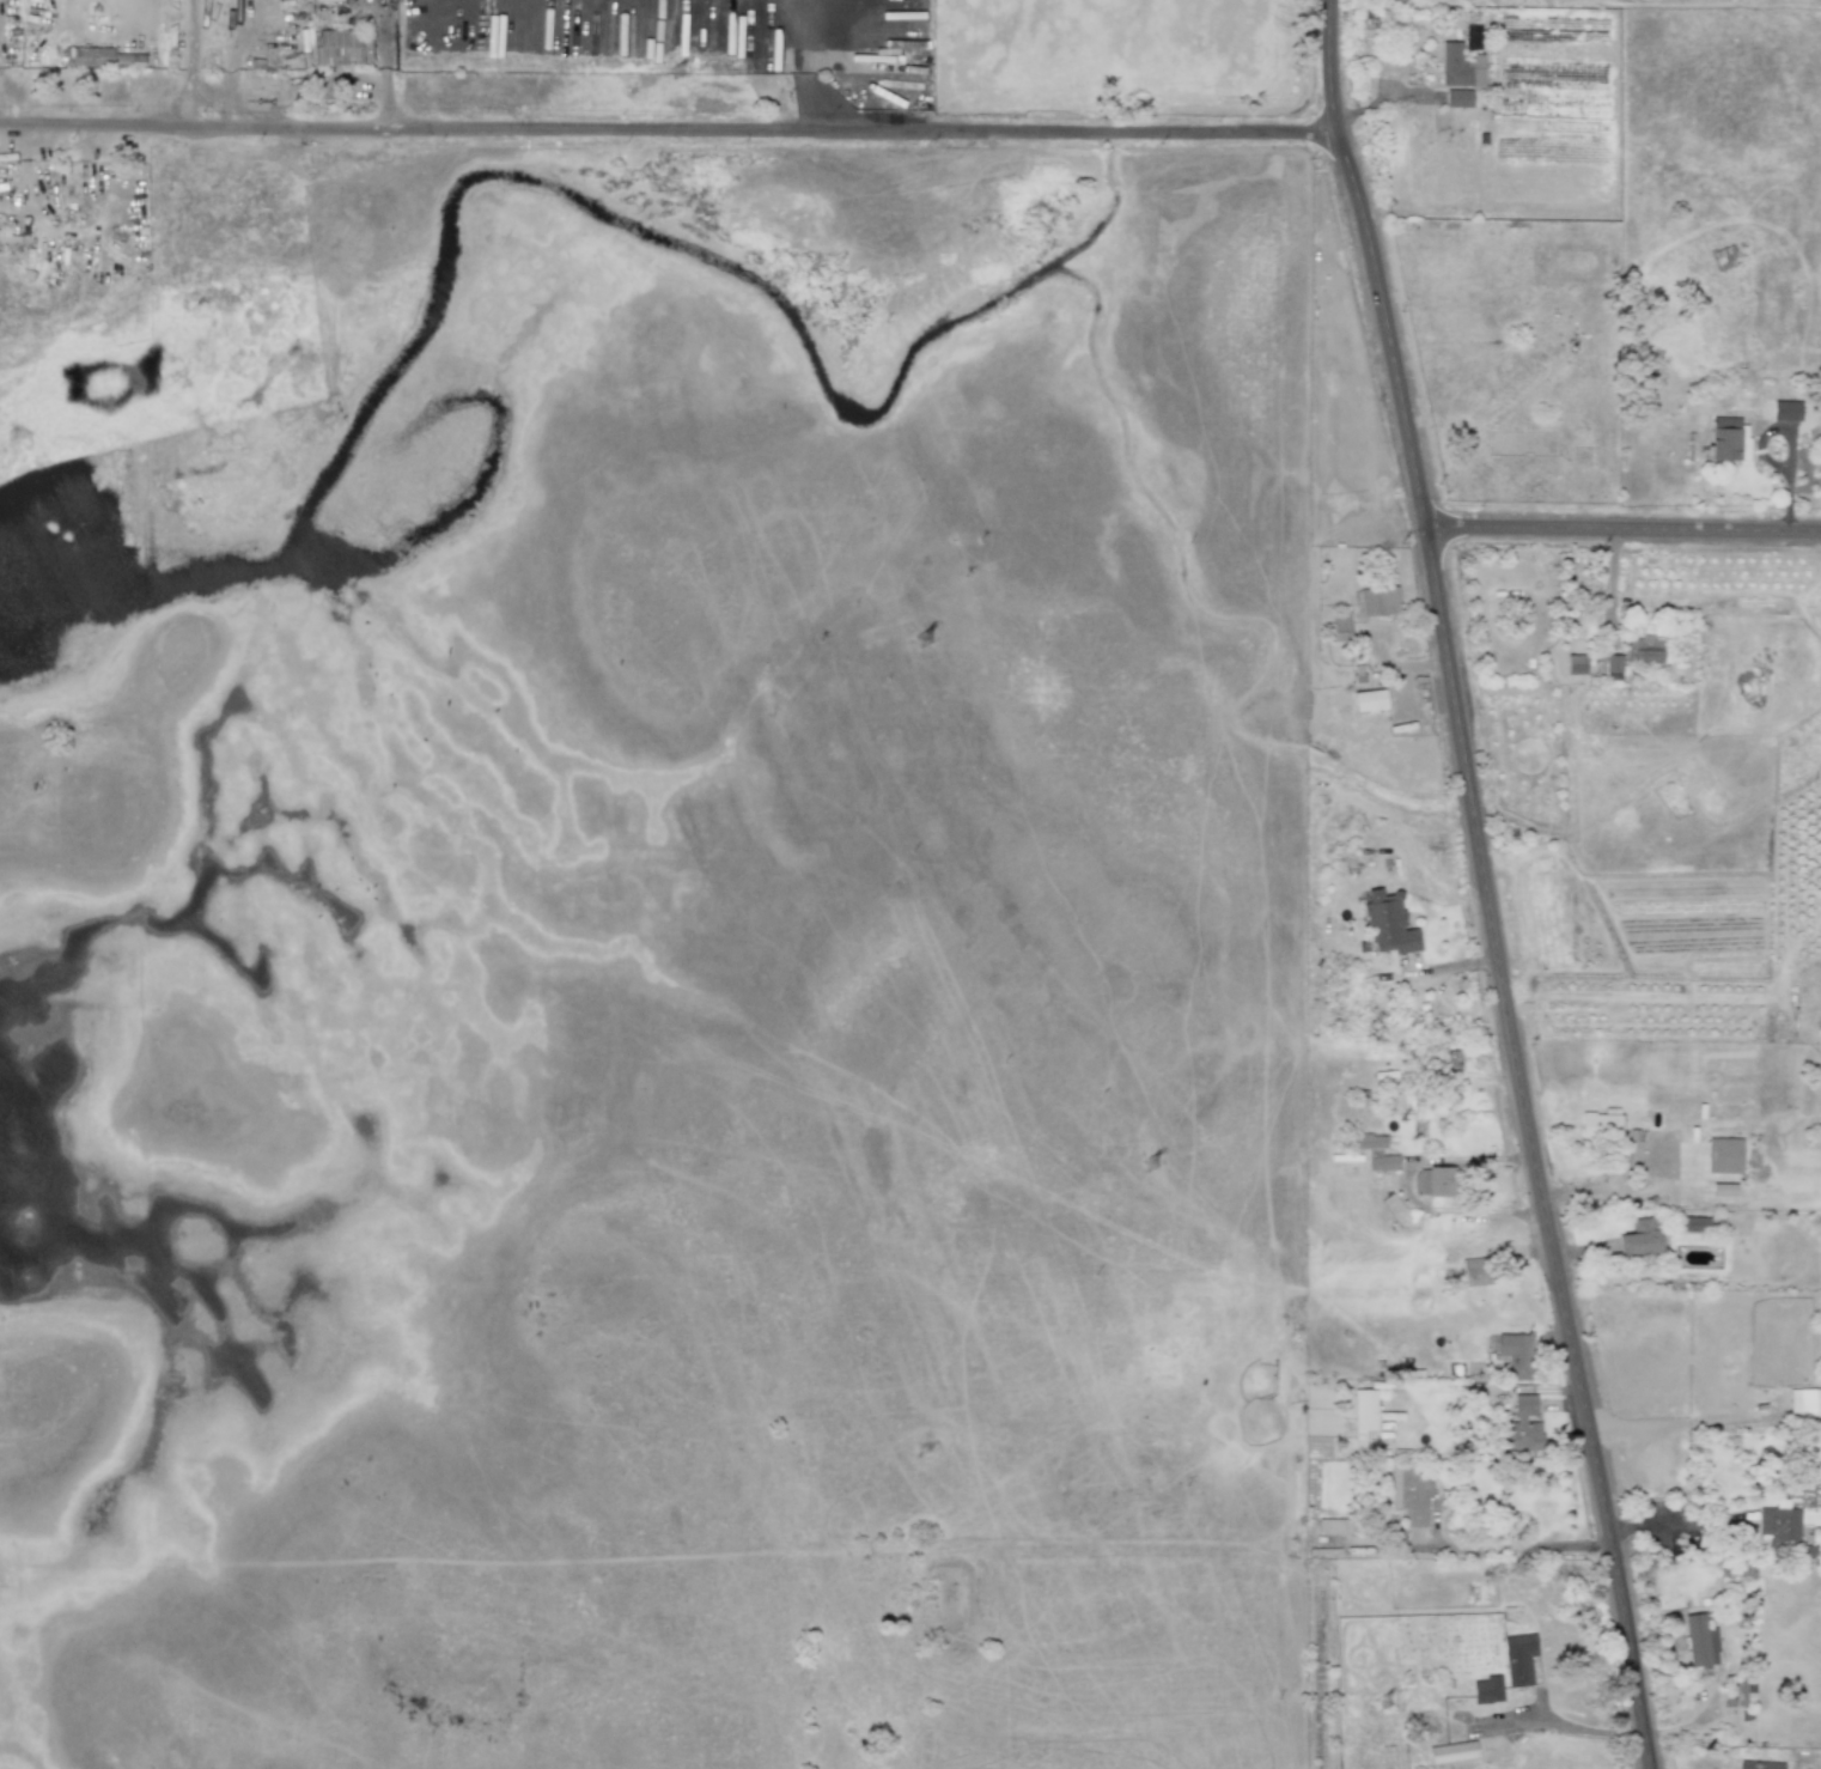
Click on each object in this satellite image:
building: (325, 0)
building: (1473, 37)
building: (335, 47)
building: (86, 56)
building: (128, 60)
road: (189, 65)
building: (1461, 67)
road: (1327, 69)
road: (805, 71)
power tower: (680, 75)
building: (1458, 98)
road: (2, 107)
road: (669, 134)
building: (1785, 411)
road: (1625, 531)
road: (1612, 590)
building: (1378, 600)
power tower: (918, 622)
building: (1340, 625)
building: (1644, 650)
building: (1575, 663)
building: (1610, 665)
building: (1369, 700)
building: (1387, 924)
road: (1492, 954)
building: (1445, 1059)
building: (1601, 1123)
building: (1375, 1151)
building: (1723, 1155)
power tower: (1152, 1166)
building: (1420, 1181)
building: (1439, 1181)
building: (1709, 1181)
road: (1607, 1186)
road: (1406, 1189)
building: (1695, 1223)
building: (1642, 1236)
building: (1474, 1271)
building: (1515, 1354)
building: (1804, 1403)
building: (1363, 1411)
building: (1522, 1427)
building: (1409, 1494)
road: (1670, 1522)
building: (1333, 1526)
building: (1783, 1532)
road: (1530, 1548)
building: (1700, 1641)
building: (1518, 1659)
building: (1487, 1689)
building: (1734, 1690)
power tower: (1385, 1704)
building: (1451, 1752)
building: (1759, 1764)

